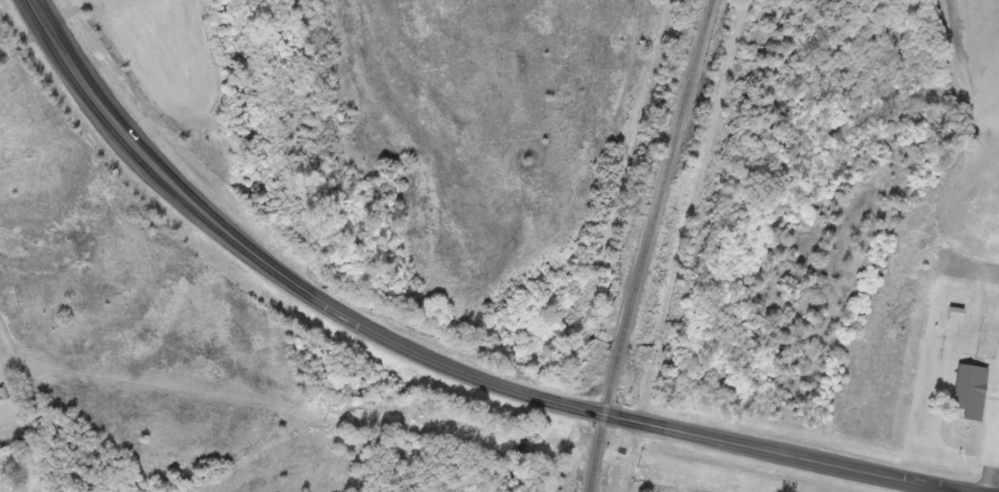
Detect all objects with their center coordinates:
road: (695, 211)
railway: (649, 245)
building: (955, 313)
road: (433, 357)
building: (969, 384)

